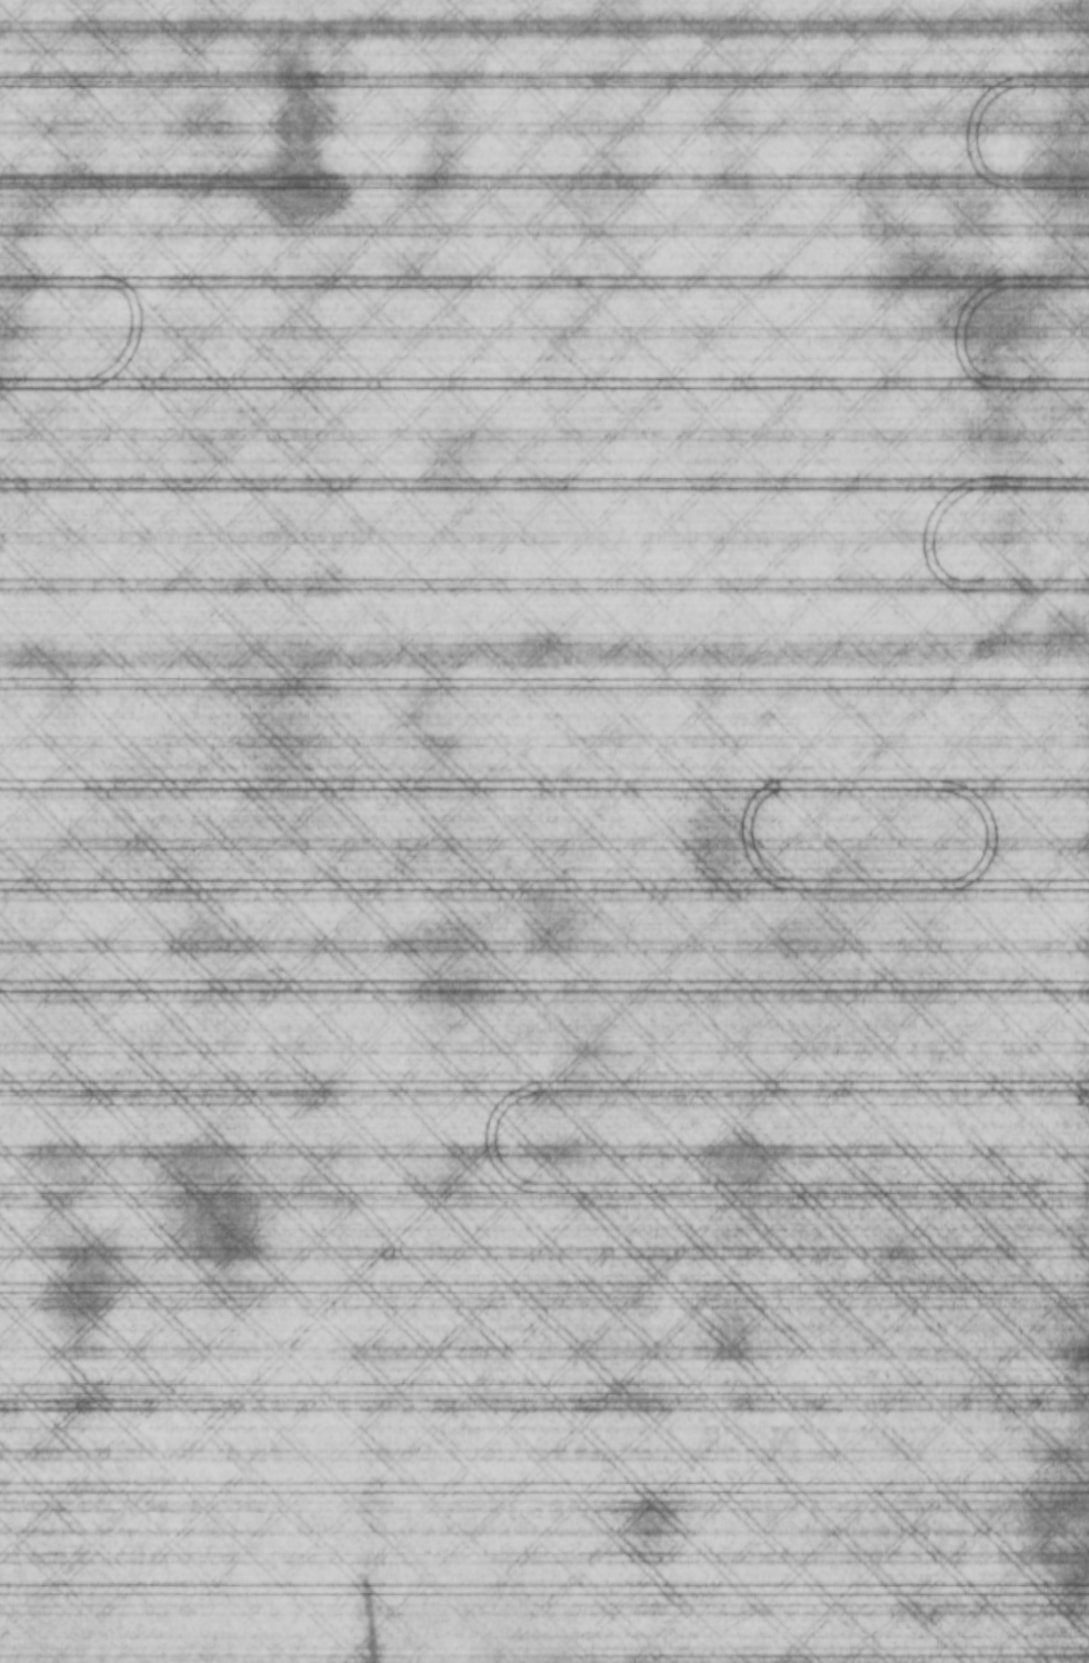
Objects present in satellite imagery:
crop: (544, 831)

